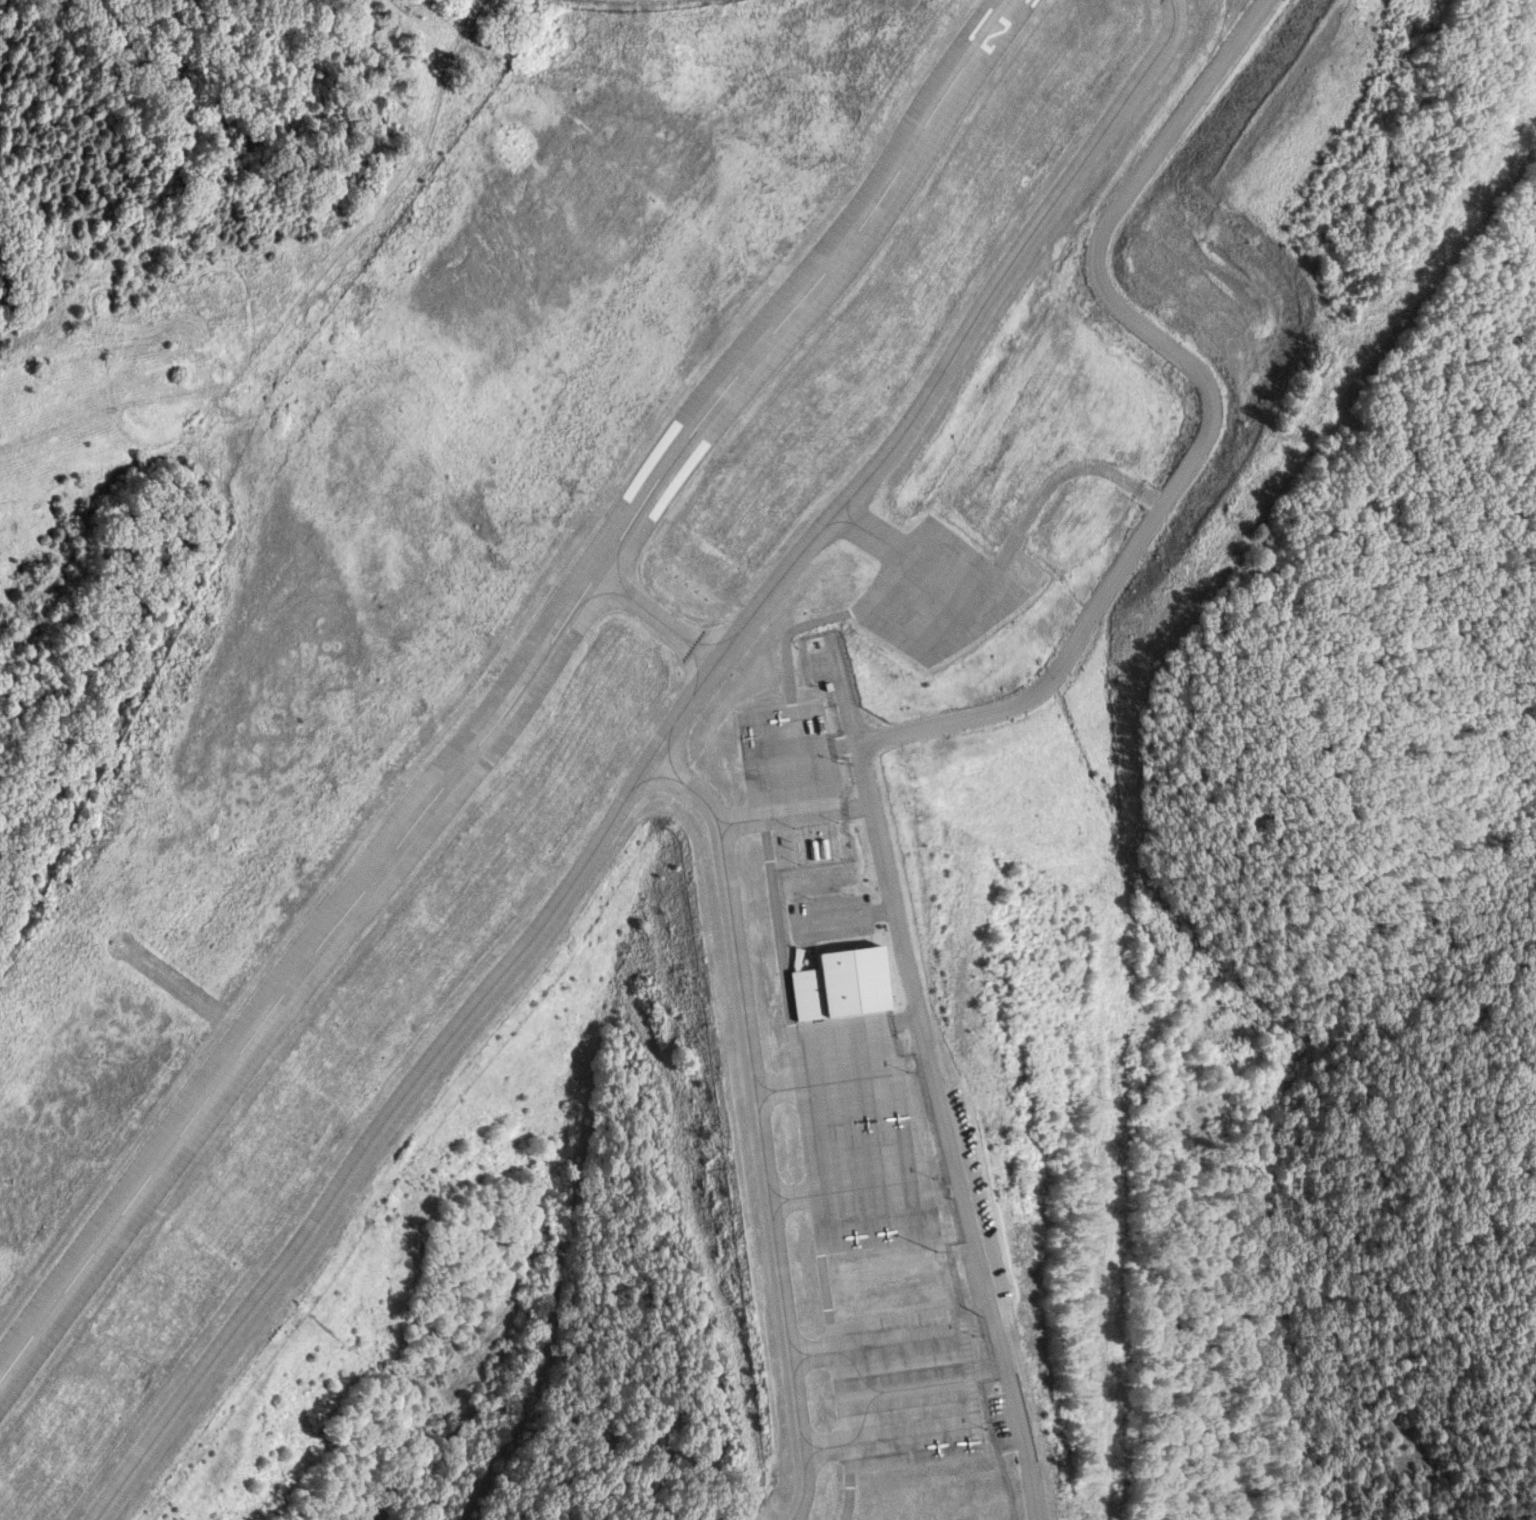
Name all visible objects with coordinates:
road: (1206, 413)
airport apron: (930, 589)
airport taxiway: (657, 616)
parking lot: (839, 652)
road: (851, 695)
airport runway: (507, 697)
airport taxiway: (640, 763)
airport apron: (788, 766)
airport taxiway: (730, 820)
road: (843, 916)
parking lot: (828, 917)
airport hangar: (842, 986)
building: (842, 986)
airport taxiway: (769, 1091)
airport taxiway: (751, 1122)
road: (942, 1131)
airport apron: (854, 1136)
airport taxiway: (782, 1197)
airport taxiway: (801, 1356)
airport apron: (900, 1388)
airport taxiway: (812, 1448)

